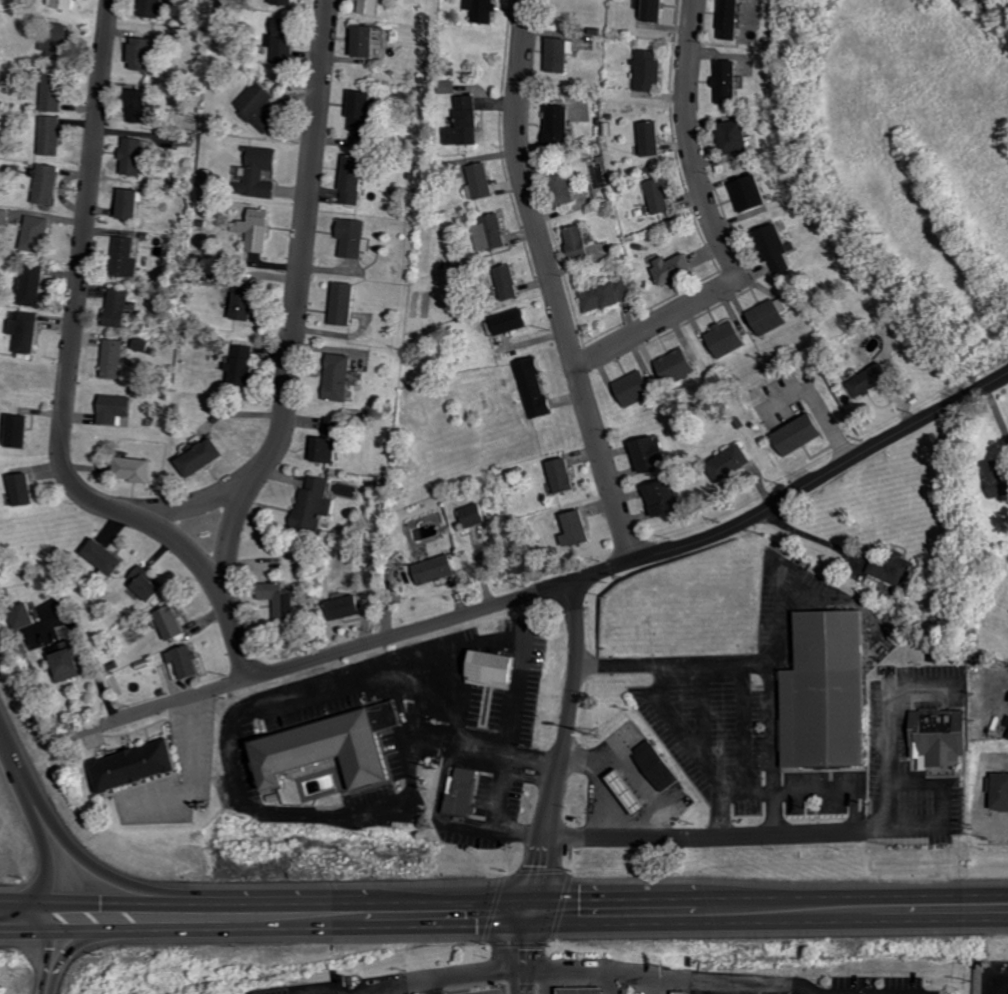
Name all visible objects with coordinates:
building: (287, 2)
building: (68, 4)
building: (375, 7)
building: (154, 8)
building: (654, 9)
building: (484, 10)
building: (735, 19)
building: (59, 37)
building: (371, 41)
building: (286, 42)
building: (146, 53)
building: (561, 55)
building: (650, 69)
building: (731, 81)
building: (56, 92)
building: (141, 105)
building: (261, 106)
building: (364, 110)
building: (468, 122)
building: (562, 128)
building: (54, 135)
building: (738, 136)
building: (654, 138)
building: (136, 156)
building: (263, 172)
building: (356, 180)
building: (484, 180)
building: (49, 184)
building: (567, 187)
building: (755, 194)
building: (662, 196)
building: (132, 204)
building: (5, 216)
road: (716, 228)
building: (259, 230)
building: (38, 233)
building: (494, 233)
building: (356, 237)
building: (582, 241)
building: (780, 249)
building: (127, 257)
building: (678, 268)
building: (513, 282)
road: (550, 284)
building: (33, 285)
building: (609, 295)
building: (347, 303)
building: (250, 304)
road: (296, 306)
building: (120, 307)
building: (771, 317)
building: (516, 321)
building: (28, 331)
building: (729, 338)
building: (115, 359)
building: (246, 364)
building: (679, 365)
building: (342, 377)
building: (875, 379)
road: (67, 382)
building: (537, 387)
building: (638, 388)
road: (821, 402)
building: (117, 408)
building: (336, 427)
building: (21, 430)
building: (803, 434)
building: (331, 450)
building: (654, 454)
building: (204, 457)
building: (732, 463)
building: (137, 469)
building: (567, 475)
building: (1000, 483)
building: (26, 489)
building: (667, 498)
building: (317, 503)
building: (478, 515)
road: (231, 527)
building: (581, 529)
road: (814, 538)
building: (108, 557)
building: (439, 569)
building: (898, 570)
building: (150, 584)
road: (559, 585)
building: (285, 601)
building: (349, 607)
building: (27, 617)
building: (175, 623)
road: (514, 641)
road: (90, 657)
building: (70, 660)
building: (190, 661)
building: (498, 669)
road: (742, 676)
building: (819, 694)
road: (258, 710)
road: (679, 729)
road: (888, 732)
building: (930, 734)
road: (562, 749)
building: (332, 750)
building: (660, 765)
building: (141, 766)
road: (197, 776)
road: (760, 789)
building: (1001, 790)
road: (816, 791)
building: (466, 793)
building: (633, 793)
road: (983, 795)
road: (941, 807)
road: (33, 828)
road: (706, 834)
road: (104, 872)
road: (643, 912)
road: (139, 916)
traffic signals: (142, 916)
traffic signals: (25, 917)
traffic signals: (32, 917)
road: (84, 941)
road: (521, 953)
road: (46, 954)
road: (668, 975)
road: (419, 980)
road: (544, 981)
road: (612, 982)
road: (433, 986)
road: (704, 986)
road: (752, 988)
road: (387, 989)
building: (588, 991)
gas station: (578, 992)
building: (684, 993)

